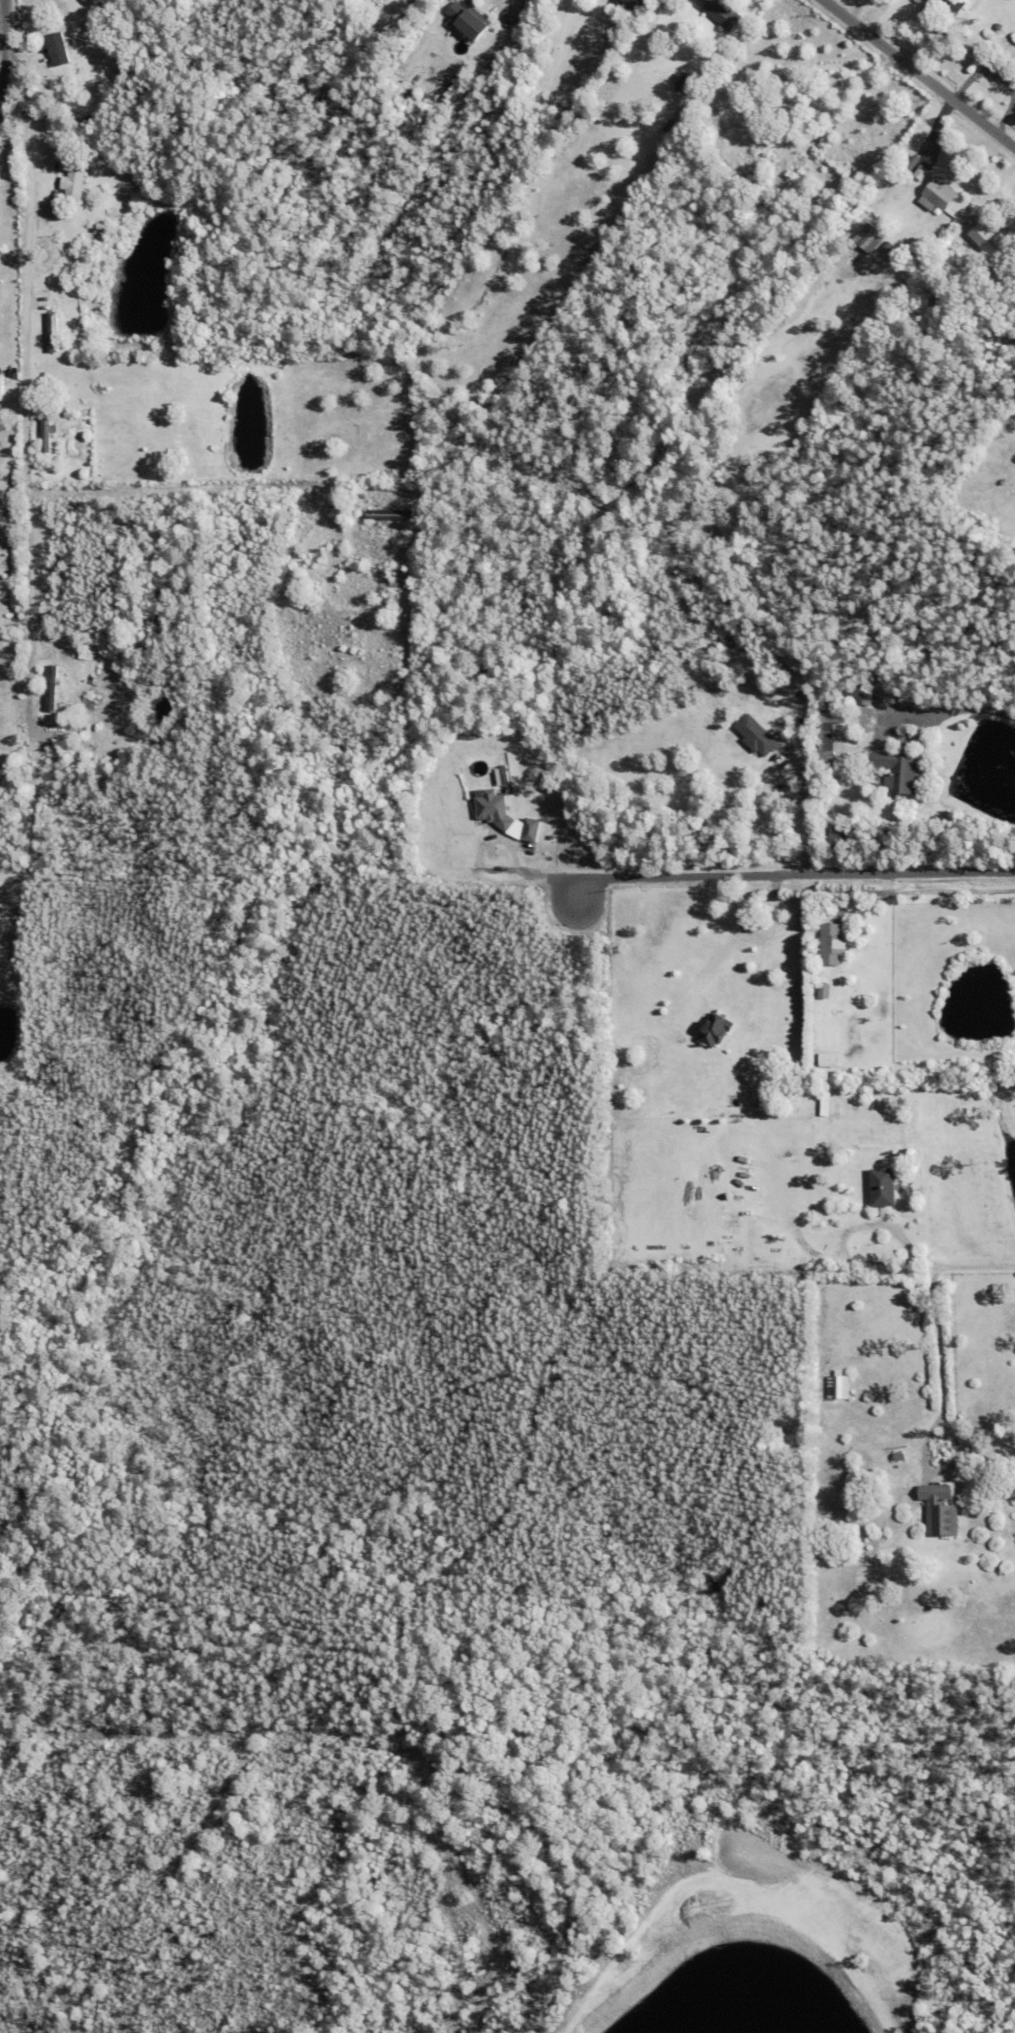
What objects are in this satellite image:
building: (481, 1)
building: (955, 5)
building: (628, 6)
building: (723, 12)
building: (468, 18)
building: (1010, 42)
road: (6, 47)
building: (57, 47)
building: (405, 60)
building: (70, 68)
road: (919, 74)
building: (683, 81)
building: (790, 102)
building: (684, 111)
building: (755, 118)
building: (85, 121)
building: (666, 125)
building: (761, 125)
building: (770, 134)
building: (822, 144)
building: (72, 154)
building: (911, 162)
building: (921, 172)
building: (761, 182)
building: (72, 183)
building: (937, 194)
building: (96, 237)
building: (871, 237)
building: (990, 243)
building: (888, 246)
building: (899, 256)
building: (918, 257)
building: (975, 296)
building: (52, 330)
road: (24, 383)
building: (68, 413)
building: (46, 433)
road: (169, 490)
building: (390, 514)
building: (61, 568)
building: (406, 576)
building: (49, 613)
building: (385, 629)
building: (731, 643)
building: (82, 654)
building: (51, 688)
building: (855, 695)
road: (956, 714)
building: (756, 735)
building: (826, 737)
building: (53, 765)
building: (896, 771)
building: (494, 809)
road: (758, 823)
building: (531, 830)
building: (836, 835)
building: (538, 857)
road: (766, 874)
building: (502, 875)
building: (830, 945)
building: (823, 991)
building: (716, 1031)
building: (827, 1060)
building: (883, 1188)
building: (730, 1228)
road: (849, 1231)
road: (976, 1266)
building: (838, 1387)
road: (938, 1410)
building: (898, 1458)
building: (938, 1512)
building: (847, 1673)
building: (364, 1958)

